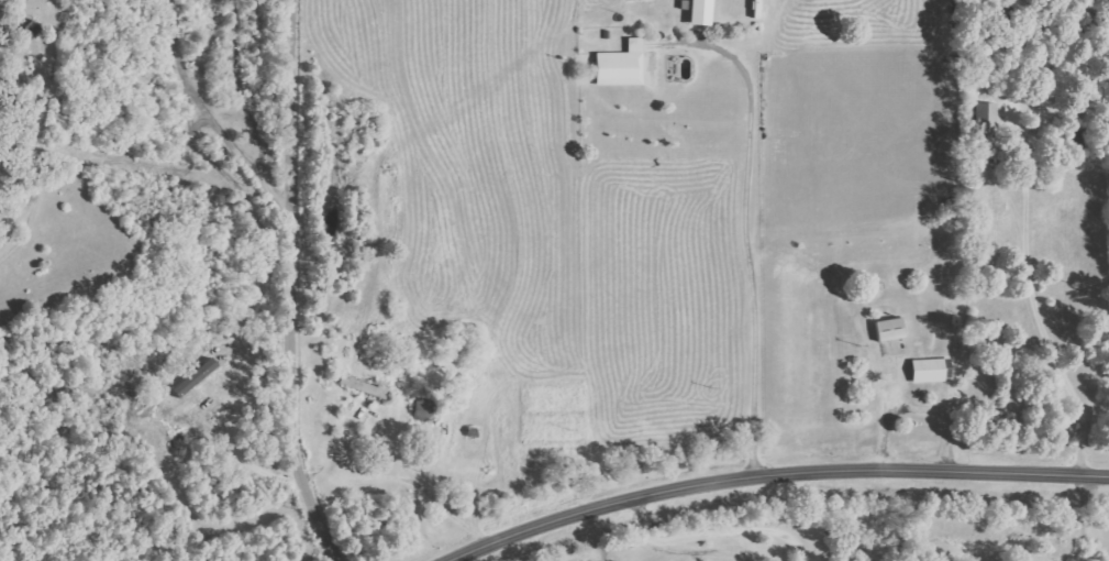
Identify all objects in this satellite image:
road: (7, 8)
building: (705, 12)
building: (623, 65)
road: (209, 113)
building: (986, 119)
road: (291, 284)
road: (1038, 300)
building: (891, 329)
building: (933, 370)
building: (197, 377)
building: (366, 388)
road: (776, 477)

